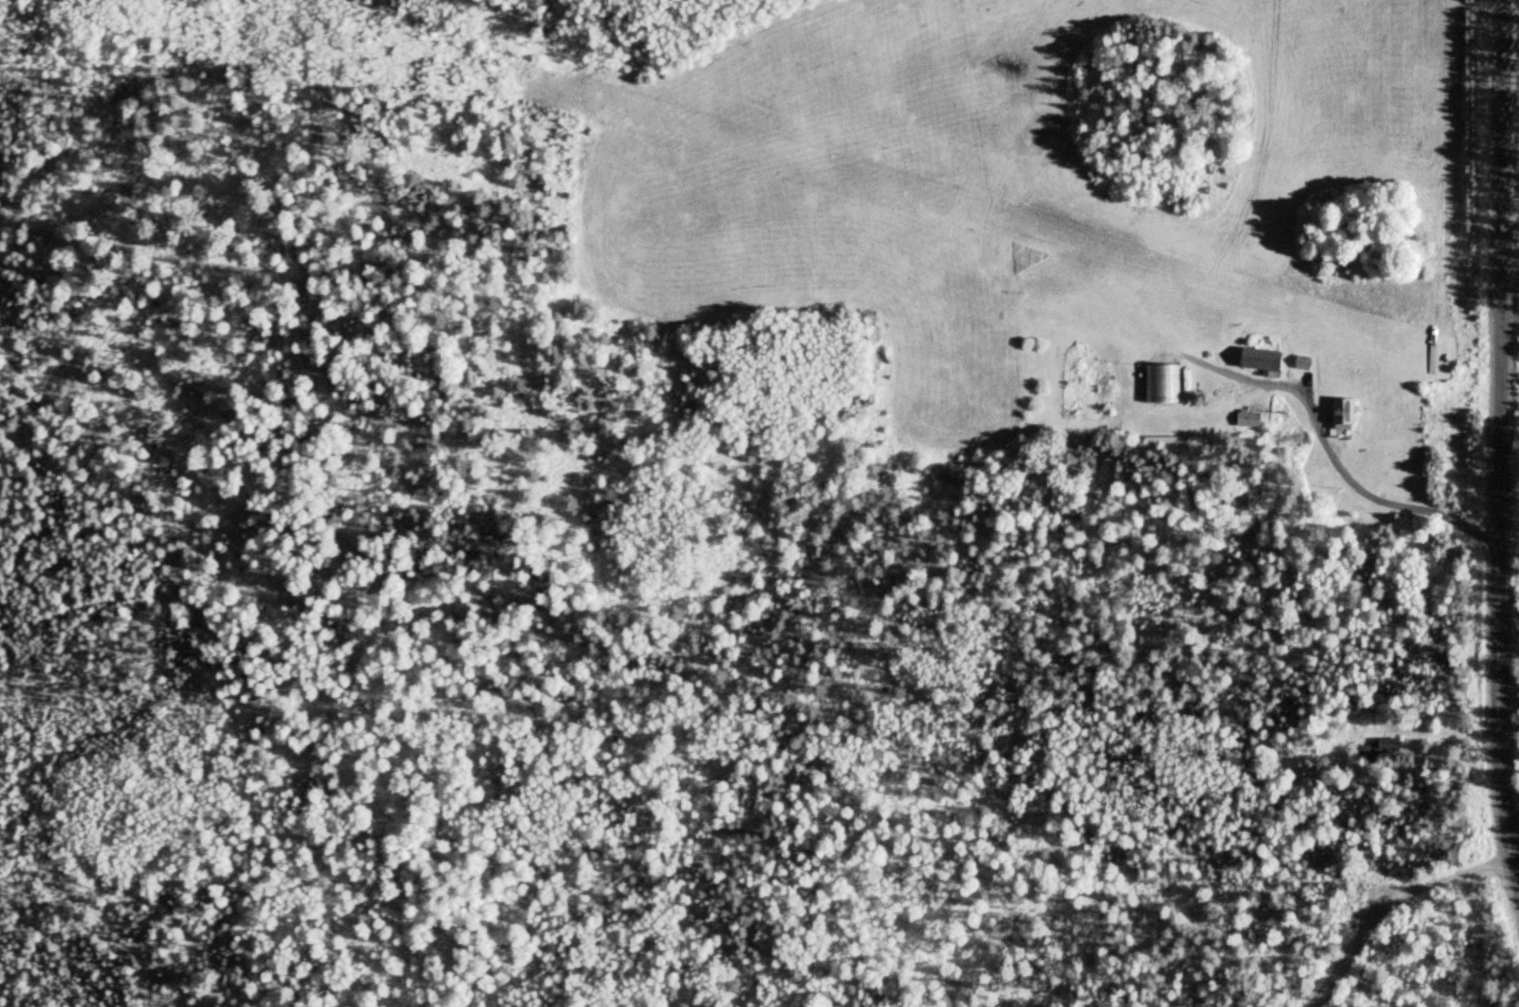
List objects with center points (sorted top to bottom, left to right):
building: (1254, 360)
building: (1159, 384)
building: (1336, 414)
road: (1500, 447)
building: (1377, 748)
road: (1388, 905)

